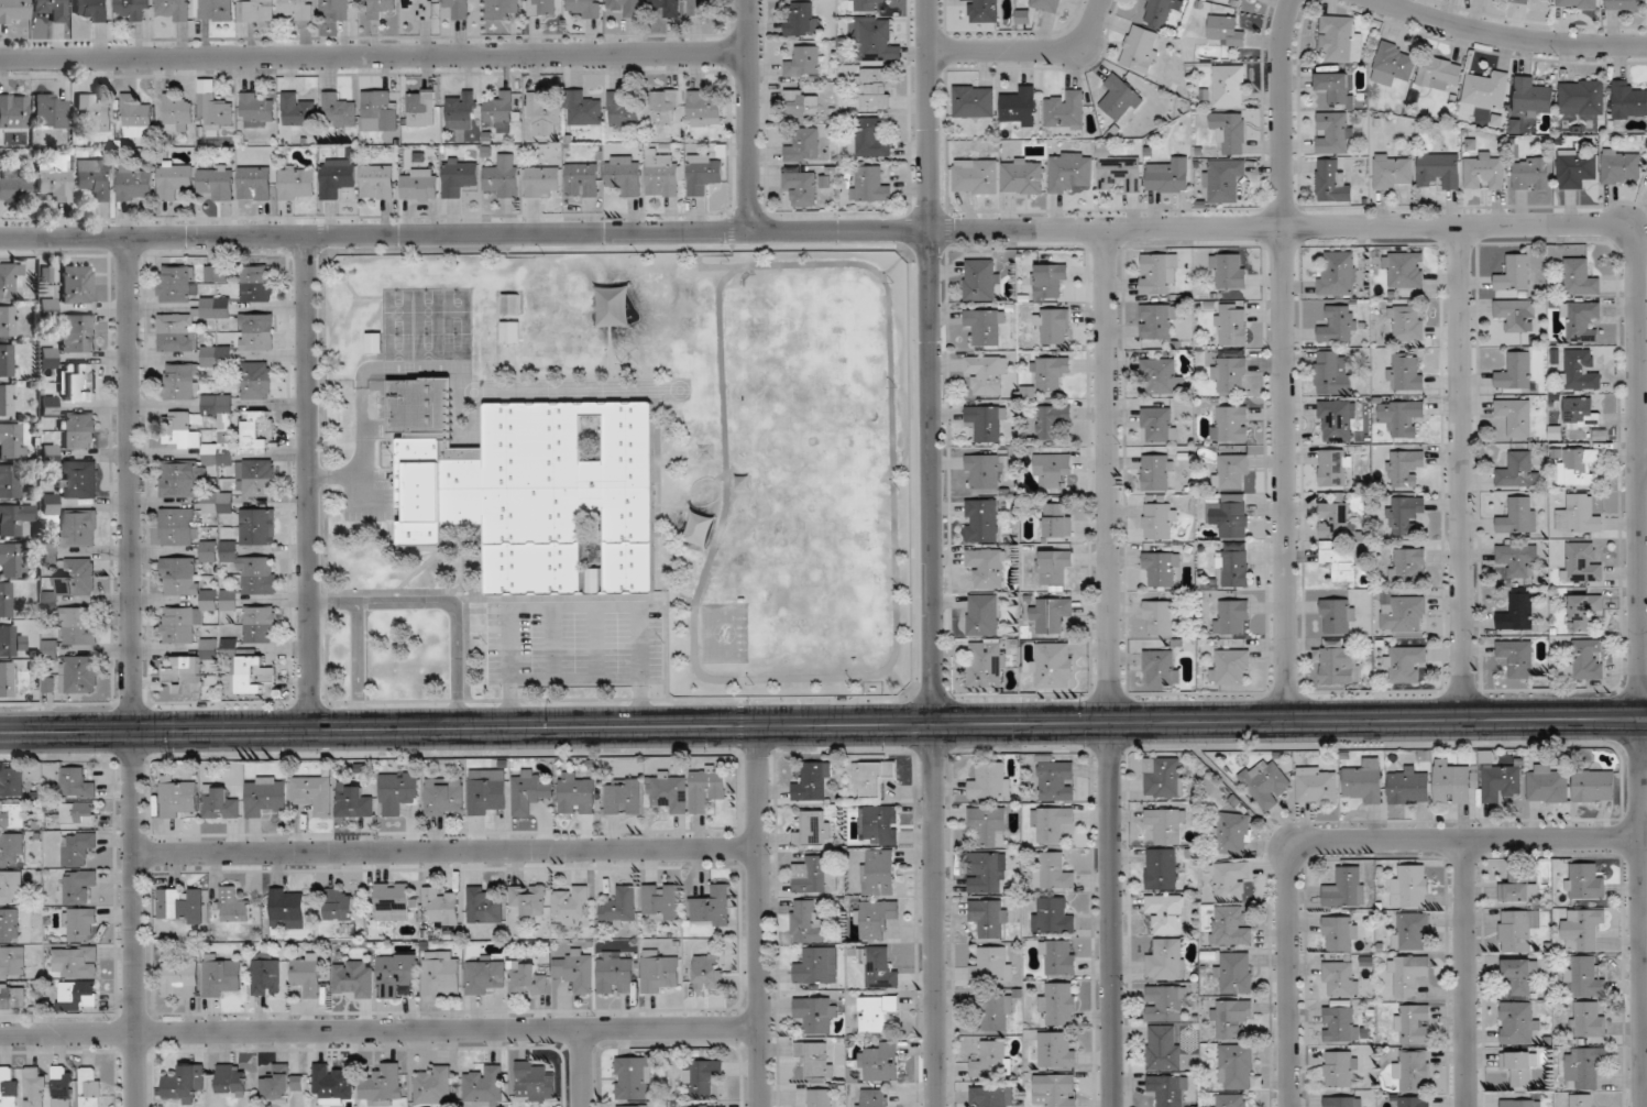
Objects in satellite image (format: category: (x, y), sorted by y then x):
building: (1520, 1)
building: (1048, 4)
building: (1577, 4)
building: (1622, 4)
building: (864, 6)
building: (625, 7)
building: (667, 7)
building: (698, 7)
building: (380, 8)
building: (419, 8)
building: (458, 8)
building: (502, 8)
building: (542, 8)
building: (585, 8)
building: (52, 9)
building: (133, 9)
building: (174, 9)
building: (297, 9)
building: (333, 9)
building: (91, 10)
building: (215, 10)
building: (985, 10)
building: (13, 11)
building: (256, 11)
building: (1160, 12)
building: (1022, 17)
building: (800, 20)
building: (1226, 30)
road: (1509, 37)
building: (1341, 39)
building: (876, 41)
building: (1140, 48)
road: (1031, 52)
road: (373, 56)
building: (804, 61)
building: (1393, 64)
building: (1439, 73)
building: (1335, 85)
building: (1229, 86)
building: (874, 88)
building: (1487, 89)
building: (1119, 97)
building: (1533, 97)
building: (1582, 97)
building: (974, 100)
building: (1628, 100)
building: (803, 103)
building: (663, 106)
building: (420, 107)
building: (1020, 107)
building: (257, 109)
building: (340, 109)
building: (380, 109)
building: (583, 109)
building: (703, 109)
building: (51, 110)
building: (13, 111)
building: (213, 111)
building: (297, 111)
building: (461, 111)
building: (499, 111)
building: (622, 111)
building: (1065, 111)
building: (94, 112)
building: (177, 112)
building: (543, 116)
building: (135, 117)
road: (747, 117)
building: (1230, 131)
building: (1335, 132)
building: (869, 139)
building: (804, 145)
building: (1621, 166)
building: (1575, 167)
building: (1069, 171)
building: (1393, 171)
building: (1439, 171)
building: (1118, 172)
building: (1485, 172)
building: (1533, 173)
building: (1646, 173)
building: (625, 174)
building: (703, 174)
building: (503, 175)
building: (662, 175)
building: (1023, 175)
building: (459, 176)
building: (975, 176)
building: (1170, 176)
building: (56, 177)
building: (95, 177)
building: (338, 177)
building: (174, 179)
building: (582, 179)
building: (1222, 179)
building: (541, 180)
building: (1332, 180)
building: (217, 182)
building: (377, 182)
building: (134, 183)
building: (254, 183)
building: (297, 183)
building: (870, 184)
building: (13, 185)
building: (420, 185)
building: (805, 187)
road: (1254, 228)
road: (905, 253)
road: (701, 254)
building: (1404, 270)
building: (1229, 271)
building: (216, 273)
building: (1157, 273)
building: (1515, 273)
building: (1338, 274)
building: (1580, 277)
building: (8, 278)
building: (1050, 278)
building: (981, 280)
building: (177, 283)
building: (256, 283)
building: (77, 284)
building: (510, 304)
building: (216, 307)
building: (1517, 315)
building: (7, 320)
building: (1157, 321)
building: (1581, 321)
building: (1231, 324)
building: (1407, 324)
building: (1052, 325)
building: (1339, 325)
building: (985, 326)
building: (178, 331)
building: (256, 331)
building: (77, 332)
building: (512, 332)
building: (375, 342)
building: (216, 355)
building: (47, 358)
building: (512, 359)
building: (6, 360)
road: (1283, 360)
building: (1575, 369)
building: (1050, 372)
building: (1405, 372)
building: (1516, 372)
building: (987, 373)
building: (1332, 373)
building: (1229, 374)
building: (1161, 377)
building: (255, 380)
building: (180, 381)
building: (77, 382)
building: (6, 399)
building: (48, 406)
building: (1580, 412)
building: (1401, 416)
building: (1516, 416)
building: (1337, 418)
building: (1051, 420)
building: (986, 421)
building: (1230, 423)
building: (1159, 424)
building: (79, 430)
building: (179, 430)
building: (257, 432)
building: (12, 440)
building: (217, 451)
building: (50, 453)
road: (1643, 457)
road: (365, 463)
building: (1577, 465)
building: (1335, 468)
building: (1405, 468)
building: (1054, 469)
building: (986, 470)
building: (1231, 471)
building: (1517, 471)
building: (1157, 472)
road: (1461, 473)
building: (256, 478)
building: (78, 479)
building: (10, 481)
road: (308, 483)
building: (531, 485)
building: (218, 502)
building: (50, 503)
building: (1405, 514)
building: (1519, 515)
building: (1578, 515)
building: (1229, 518)
building: (1058, 519)
building: (1337, 519)
building: (17, 520)
building: (981, 520)
building: (1160, 520)
building: (257, 526)
building: (78, 527)
building: (177, 527)
building: (700, 528)
road: (931, 553)
building: (13, 560)
building: (1518, 560)
building: (1339, 562)
building: (1581, 562)
building: (1408, 565)
building: (1055, 566)
building: (987, 567)
building: (1162, 568)
building: (1233, 568)
building: (252, 570)
building: (185, 571)
building: (81, 578)
building: (595, 587)
building: (6, 599)
road: (444, 602)
road: (577, 606)
building: (1583, 611)
building: (1518, 612)
building: (982, 614)
building: (1052, 614)
building: (1406, 614)
building: (1231, 616)
building: (1337, 616)
building: (1161, 617)
building: (260, 624)
building: (80, 625)
building: (177, 625)
building: (11, 642)
building: (1518, 657)
building: (1584, 660)
building: (1404, 662)
building: (987, 664)
building: (1338, 664)
building: (1053, 665)
road: (358, 666)
building: (1161, 667)
building: (1230, 667)
road: (1110, 668)
road: (134, 672)
building: (185, 675)
building: (84, 677)
building: (255, 677)
road: (853, 677)
building: (7, 679)
building: (50, 683)
road: (910, 697)
road: (890, 724)
road: (67, 732)
building: (872, 777)
building: (1164, 777)
building: (1054, 779)
building: (813, 781)
building: (990, 781)
building: (1365, 781)
building: (11, 782)
building: (1267, 782)
building: (1501, 782)
building: (77, 783)
building: (1453, 783)
building: (1547, 783)
building: (1317, 785)
building: (1408, 786)
building: (1594, 786)
building: (707, 787)
building: (530, 790)
building: (669, 791)
building: (398, 792)
building: (314, 793)
building: (577, 793)
building: (266, 794)
building: (486, 794)
building: (625, 796)
building: (444, 797)
building: (178, 798)
building: (353, 800)
building: (220, 803)
building: (78, 814)
building: (12, 815)
building: (1052, 823)
building: (879, 824)
building: (988, 824)
building: (1167, 824)
building: (814, 829)
building: (1234, 833)
road: (1336, 842)
building: (78, 847)
building: (11, 850)
road: (448, 852)
building: (1161, 868)
building: (986, 872)
building: (1052, 872)
building: (878, 873)
building: (814, 876)
building: (1229, 880)
building: (1584, 881)
building: (78, 886)
building: (1412, 886)
building: (11, 887)
building: (1346, 887)
building: (1518, 887)
building: (529, 898)
building: (394, 901)
building: (661, 901)
building: (570, 902)
building: (341, 903)
building: (183, 905)
building: (234, 905)
building: (442, 905)
building: (483, 906)
building: (711, 906)
building: (619, 907)
building: (287, 908)
building: (1166, 912)
road: (759, 916)
building: (988, 917)
building: (1053, 917)
building: (876, 918)
building: (805, 922)
building: (9, 924)
building: (80, 924)
building: (1231, 925)
building: (1582, 930)
building: (1410, 931)
building: (1516, 931)
building: (1340, 933)
building: (1058, 957)
building: (1166, 960)
building: (13, 962)
building: (75, 962)
building: (992, 965)
building: (879, 966)
building: (815, 967)
building: (575, 969)
building: (441, 973)
building: (659, 973)
building: (1234, 973)
building: (1408, 973)
building: (396, 974)
building: (614, 974)
building: (709, 974)
road: (1464, 974)
building: (266, 975)
building: (307, 975)
building: (1522, 975)
building: (179, 976)
building: (485, 976)
building: (222, 977)
building: (1584, 977)
building: (527, 978)
building: (1340, 978)
building: (353, 979)
building: (13, 995)
building: (77, 996)
building: (1059, 1004)
building: (1166, 1004)
building: (876, 1012)
building: (816, 1013)
building: (997, 1013)
building: (1230, 1018)
building: (1588, 1020)
building: (1340, 1021)
building: (1518, 1022)
building: (1412, 1024)
road: (380, 1031)
building: (1164, 1048)
building: (1056, 1050)
building: (816, 1057)
building: (992, 1060)
building: (879, 1062)
road: (1645, 1064)
building: (1583, 1065)
building: (1236, 1066)
road: (584, 1067)
building: (1520, 1067)
building: (1340, 1068)
building: (1413, 1071)
building: (702, 1075)
building: (634, 1078)
building: (232, 1079)
building: (535, 1082)
building: (281, 1083)
building: (185, 1084)
building: (332, 1085)
building: (384, 1085)
building: (435, 1085)
building: (35, 1086)
building: (63, 1086)
building: (484, 1086)
building: (9, 1088)
building: (90, 1088)
building: (1055, 1089)
building: (1170, 1089)
building: (991, 1096)
building: (820, 1097)
building: (872, 1097)
building: (1231, 1100)
building: (1581, 1100)
building: (1343, 1101)
building: (1413, 1101)
building: (1519, 1103)
building: (635, 1106)
building: (704, 1106)

